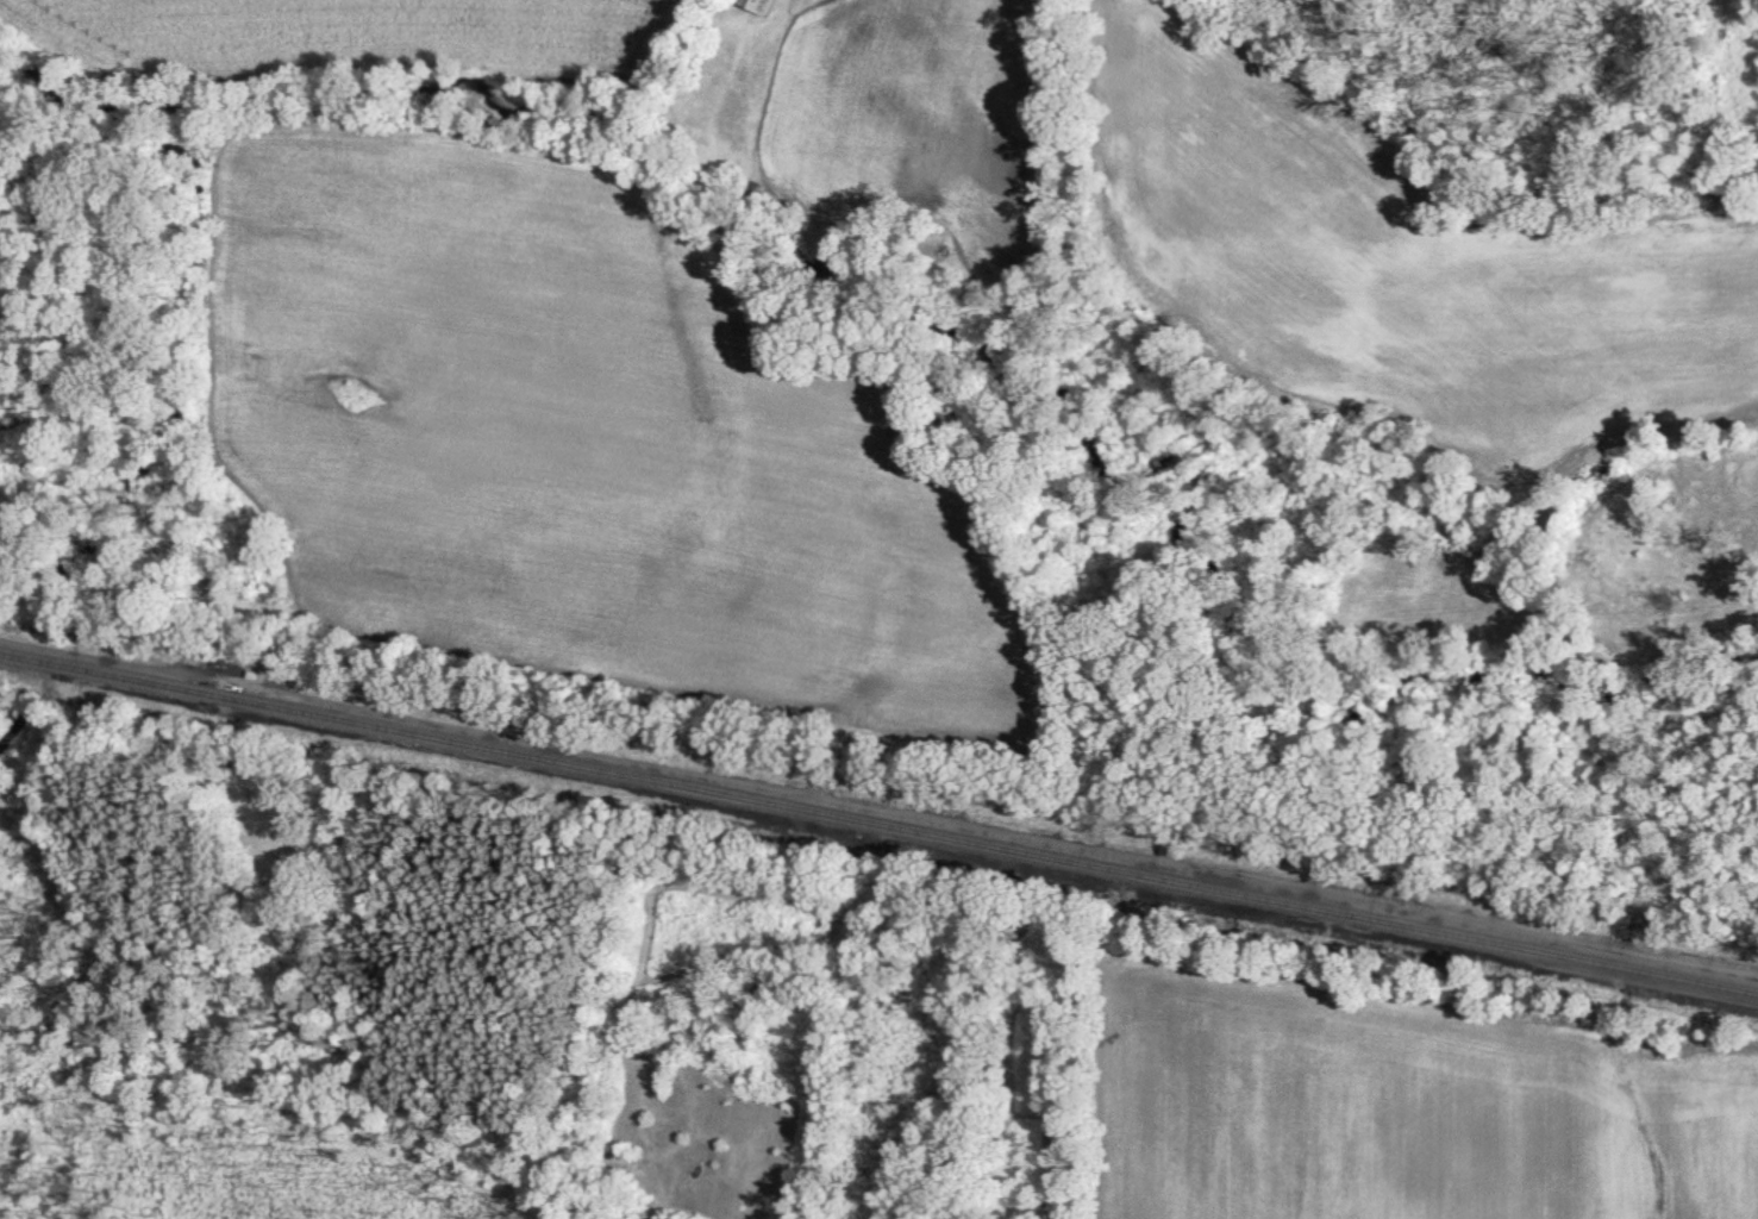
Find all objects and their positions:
building: (753, 4)
river: (978, 345)
railway: (878, 820)

